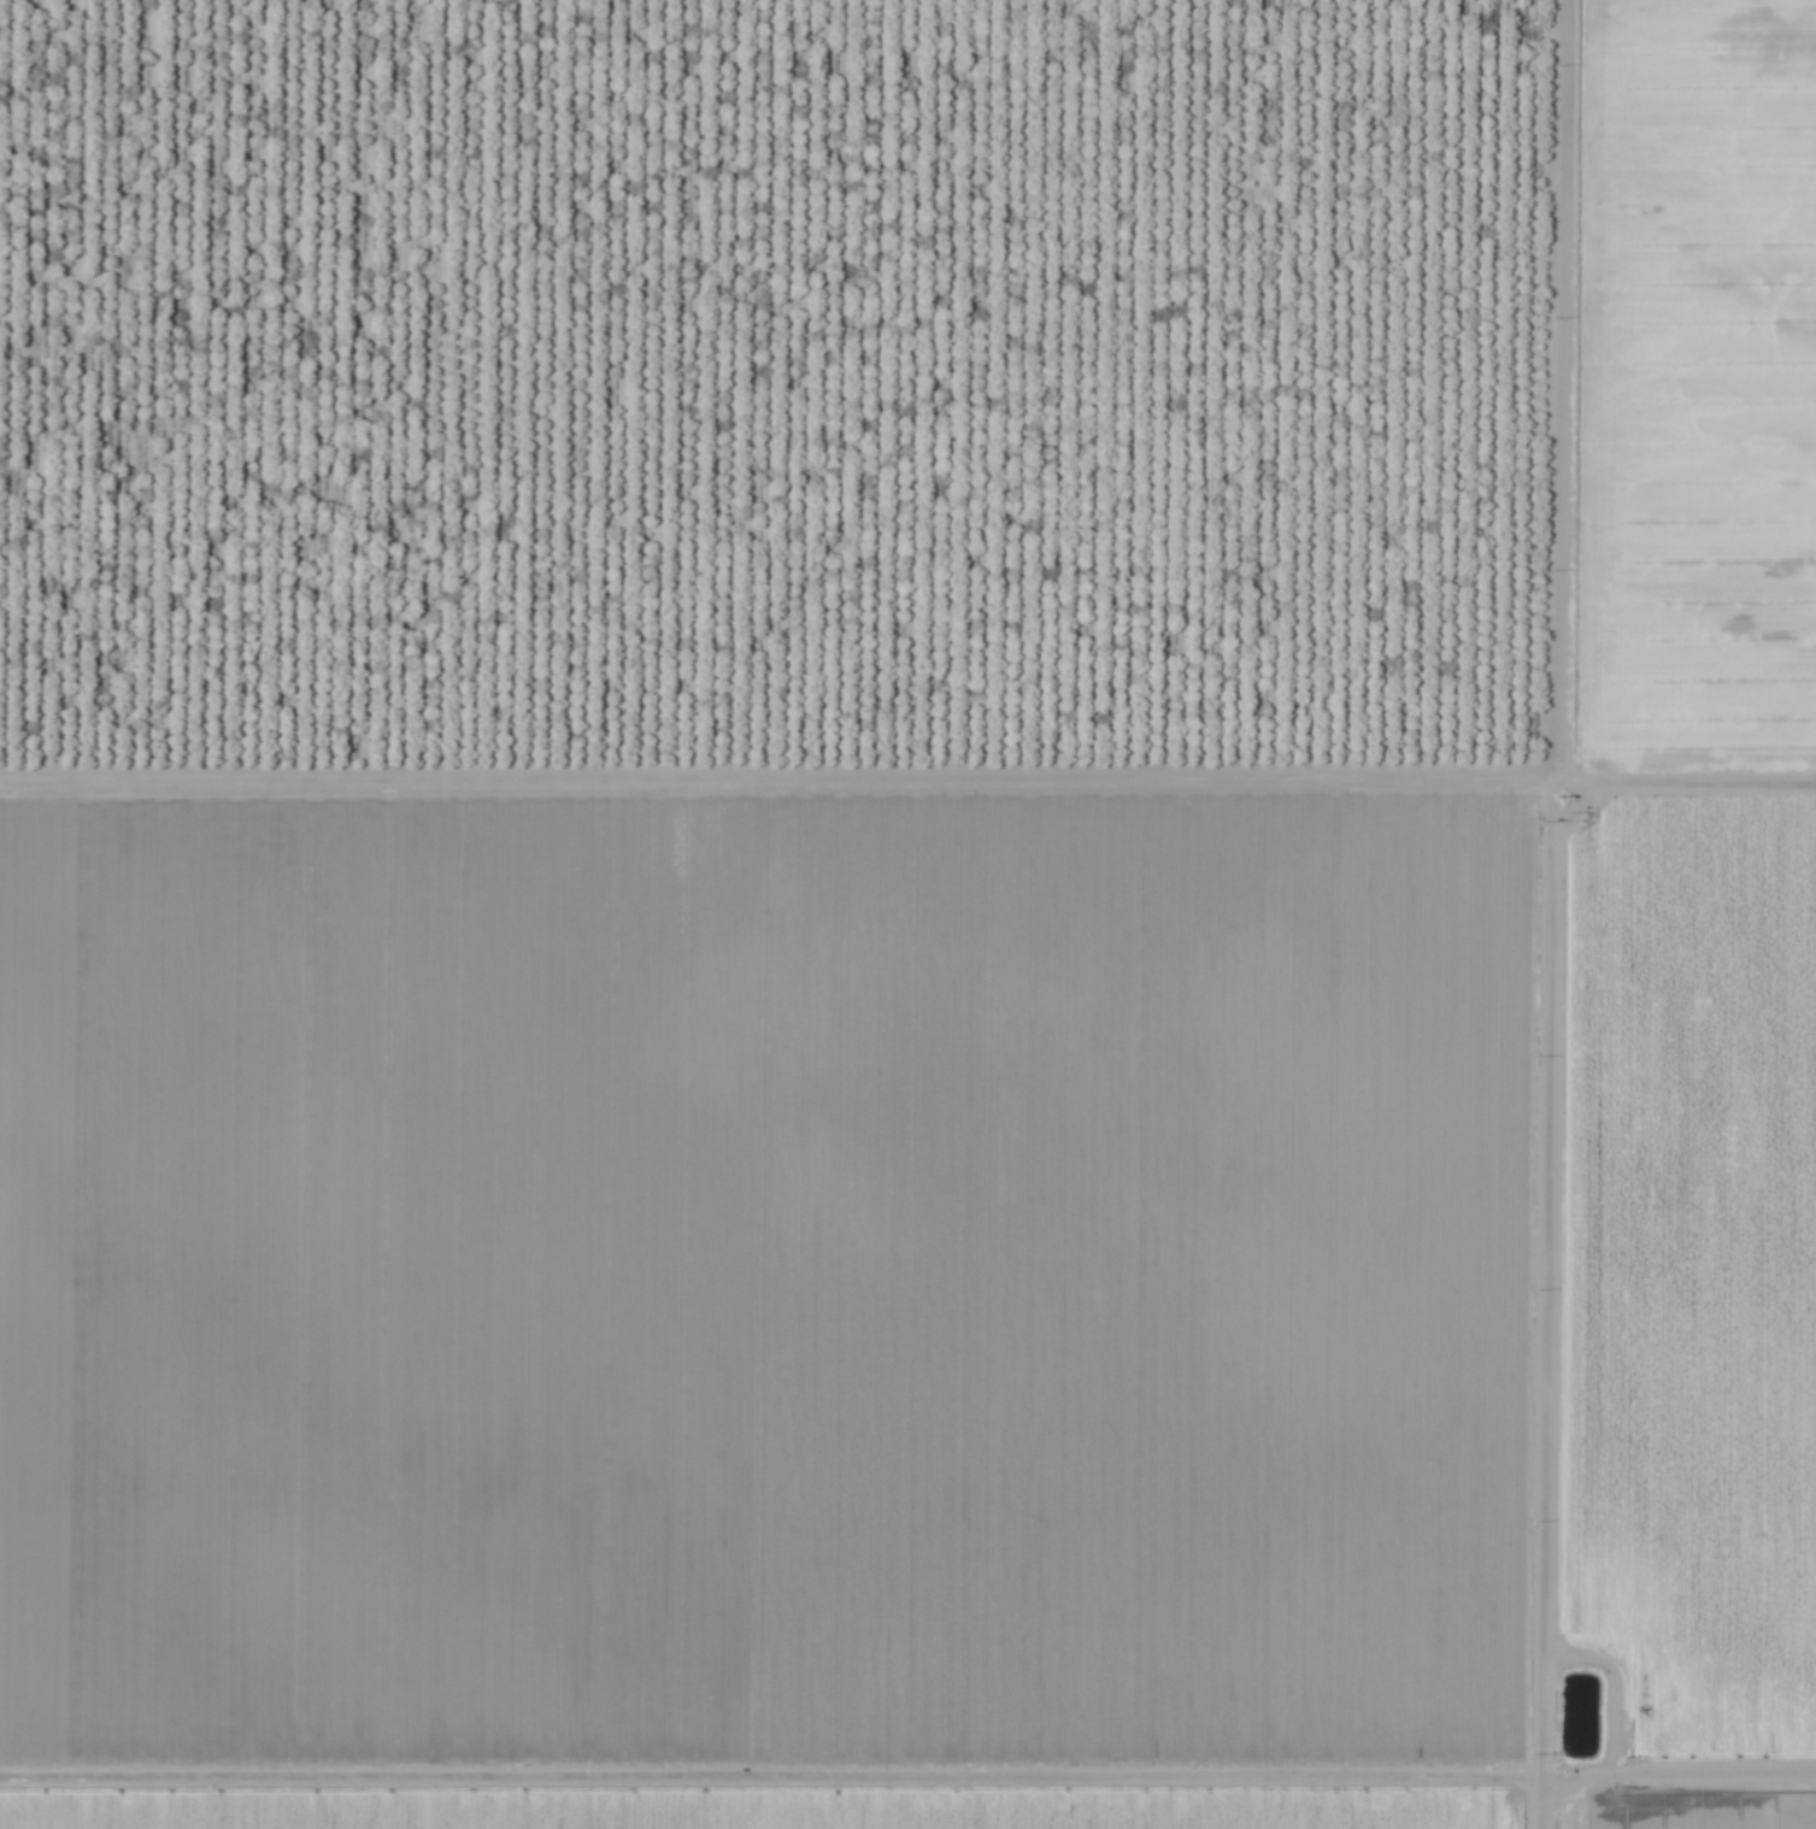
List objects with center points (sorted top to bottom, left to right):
crop: (907, 914)

